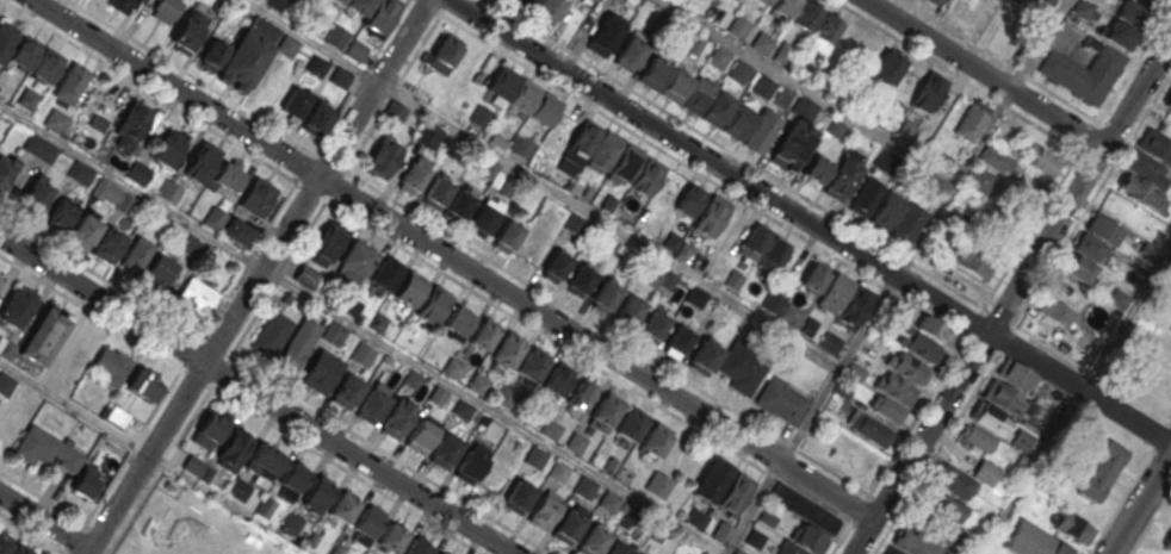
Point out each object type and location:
building: (589, 0)
building: (764, 1)
building: (936, 1)
building: (1018, 1)
building: (1153, 2)
building: (275, 4)
building: (526, 4)
building: (122, 5)
building: (783, 7)
building: (1083, 8)
building: (166, 10)
road: (436, 10)
building: (550, 10)
building: (380, 14)
building: (807, 15)
building: (1124, 24)
building: (737, 26)
building: (187, 30)
building: (825, 33)
building: (605, 35)
building: (337, 36)
building: (6, 38)
road: (311, 41)
building: (762, 42)
road: (1040, 43)
building: (287, 44)
building: (357, 50)
building: (24, 51)
building: (783, 51)
building: (444, 54)
building: (628, 54)
building: (718, 56)
building: (243, 60)
building: (47, 64)
building: (887, 68)
building: (739, 70)
road: (987, 71)
building: (1083, 71)
building: (655, 73)
road: (192, 75)
road: (360, 75)
building: (341, 76)
building: (502, 81)
building: (70, 83)
building: (675, 85)
building: (764, 86)
building: (272, 91)
building: (929, 91)
road: (1136, 93)
building: (523, 94)
building: (698, 95)
building: (781, 95)
building: (27, 98)
building: (1167, 100)
road: (585, 102)
building: (295, 105)
building: (545, 107)
building: (395, 112)
building: (482, 116)
road: (854, 118)
building: (317, 119)
building: (56, 120)
building: (131, 122)
building: (969, 122)
building: (428, 135)
building: (794, 136)
building: (583, 142)
building: (523, 147)
building: (168, 148)
building: (39, 149)
building: (605, 150)
road: (735, 152)
building: (383, 157)
building: (1037, 157)
building: (996, 158)
building: (202, 162)
building: (626, 162)
road: (718, 166)
building: (817, 168)
building: (5, 170)
building: (1147, 170)
building: (79, 172)
building: (137, 173)
building: (414, 174)
building: (844, 174)
building: (228, 175)
building: (646, 176)
building: (978, 178)
road: (132, 187)
building: (104, 189)
building: (168, 191)
building: (436, 191)
building: (35, 194)
building: (258, 195)
building: (866, 197)
building: (689, 199)
building: (458, 204)
building: (887, 210)
building: (712, 213)
building: (61, 216)
building: (213, 217)
building: (954, 218)
building: (483, 219)
building: (907, 223)
road: (924, 228)
building: (83, 230)
building: (235, 230)
building: (507, 232)
road: (1046, 239)
building: (327, 242)
building: (754, 242)
building: (110, 243)
building: (676, 245)
building: (1092, 248)
road: (653, 253)
building: (775, 253)
building: (137, 254)
road: (452, 260)
building: (973, 261)
building: (354, 262)
building: (556, 267)
building: (159, 272)
building: (385, 273)
building: (308, 276)
road: (259, 278)
building: (580, 279)
building: (0, 282)
building: (409, 287)
road: (227, 292)
building: (1068, 292)
building: (836, 293)
building: (605, 294)
building: (198, 295)
building: (433, 304)
building: (18, 305)
building: (783, 309)
building: (630, 310)
building: (1054, 311)
road: (1124, 318)
building: (458, 320)
building: (653, 323)
building: (936, 328)
building: (333, 332)
building: (485, 332)
building: (44, 334)
building: (272, 334)
building: (680, 340)
building: (299, 343)
building: (924, 347)
building: (507, 348)
building: (363, 354)
building: (705, 355)
building: (533, 362)
building: (110, 363)
building: (742, 367)
building: (910, 367)
building: (453, 368)
building: (322, 371)
building: (1016, 373)
building: (413, 378)
building: (554, 381)
building: (5, 384)
building: (145, 384)
building: (478, 384)
building: (348, 388)
building: (897, 388)
road: (1079, 388)
building: (581, 393)
building: (438, 394)
road: (256, 396)
building: (504, 397)
building: (1004, 398)
building: (782, 400)
building: (372, 403)
road: (73, 407)
building: (463, 409)
road: (494, 411)
building: (605, 411)
building: (399, 416)
building: (989, 417)
building: (630, 425)
road: (930, 427)
building: (551, 428)
building: (210, 429)
building: (872, 430)
building: (422, 434)
building: (655, 441)
building: (576, 442)
building: (45, 448)
building: (446, 448)
building: (234, 449)
building: (535, 456)
road: (780, 460)
building: (262, 463)
building: (193, 465)
building: (471, 465)
building: (1099, 469)
building: (558, 471)
road: (1029, 471)
building: (985, 472)
building: (625, 474)
building: (293, 478)
building: (494, 479)
building: (711, 480)
building: (85, 481)
building: (952, 481)
building: (657, 483)
building: (584, 486)
building: (238, 488)
building: (318, 493)
building: (736, 493)
building: (518, 496)
building: (609, 500)
building: (942, 504)
road: (1140, 505)
road: (860, 506)
building: (343, 508)
building: (803, 508)
building: (541, 511)
building: (695, 518)
road: (45, 519)
building: (367, 523)
building: (290, 524)
park: (185, 527)
building: (566, 527)
building: (1073, 527)
road: (81, 529)
building: (392, 537)
road: (862, 537)
building: (754, 539)
building: (593, 540)
building: (913, 541)
building: (1033, 541)
building: (1167, 543)
building: (12, 546)
building: (417, 547)
building: (619, 548)
building: (789, 548)
building: (738, 550)
building: (892, 550)
building: (439, 553)

